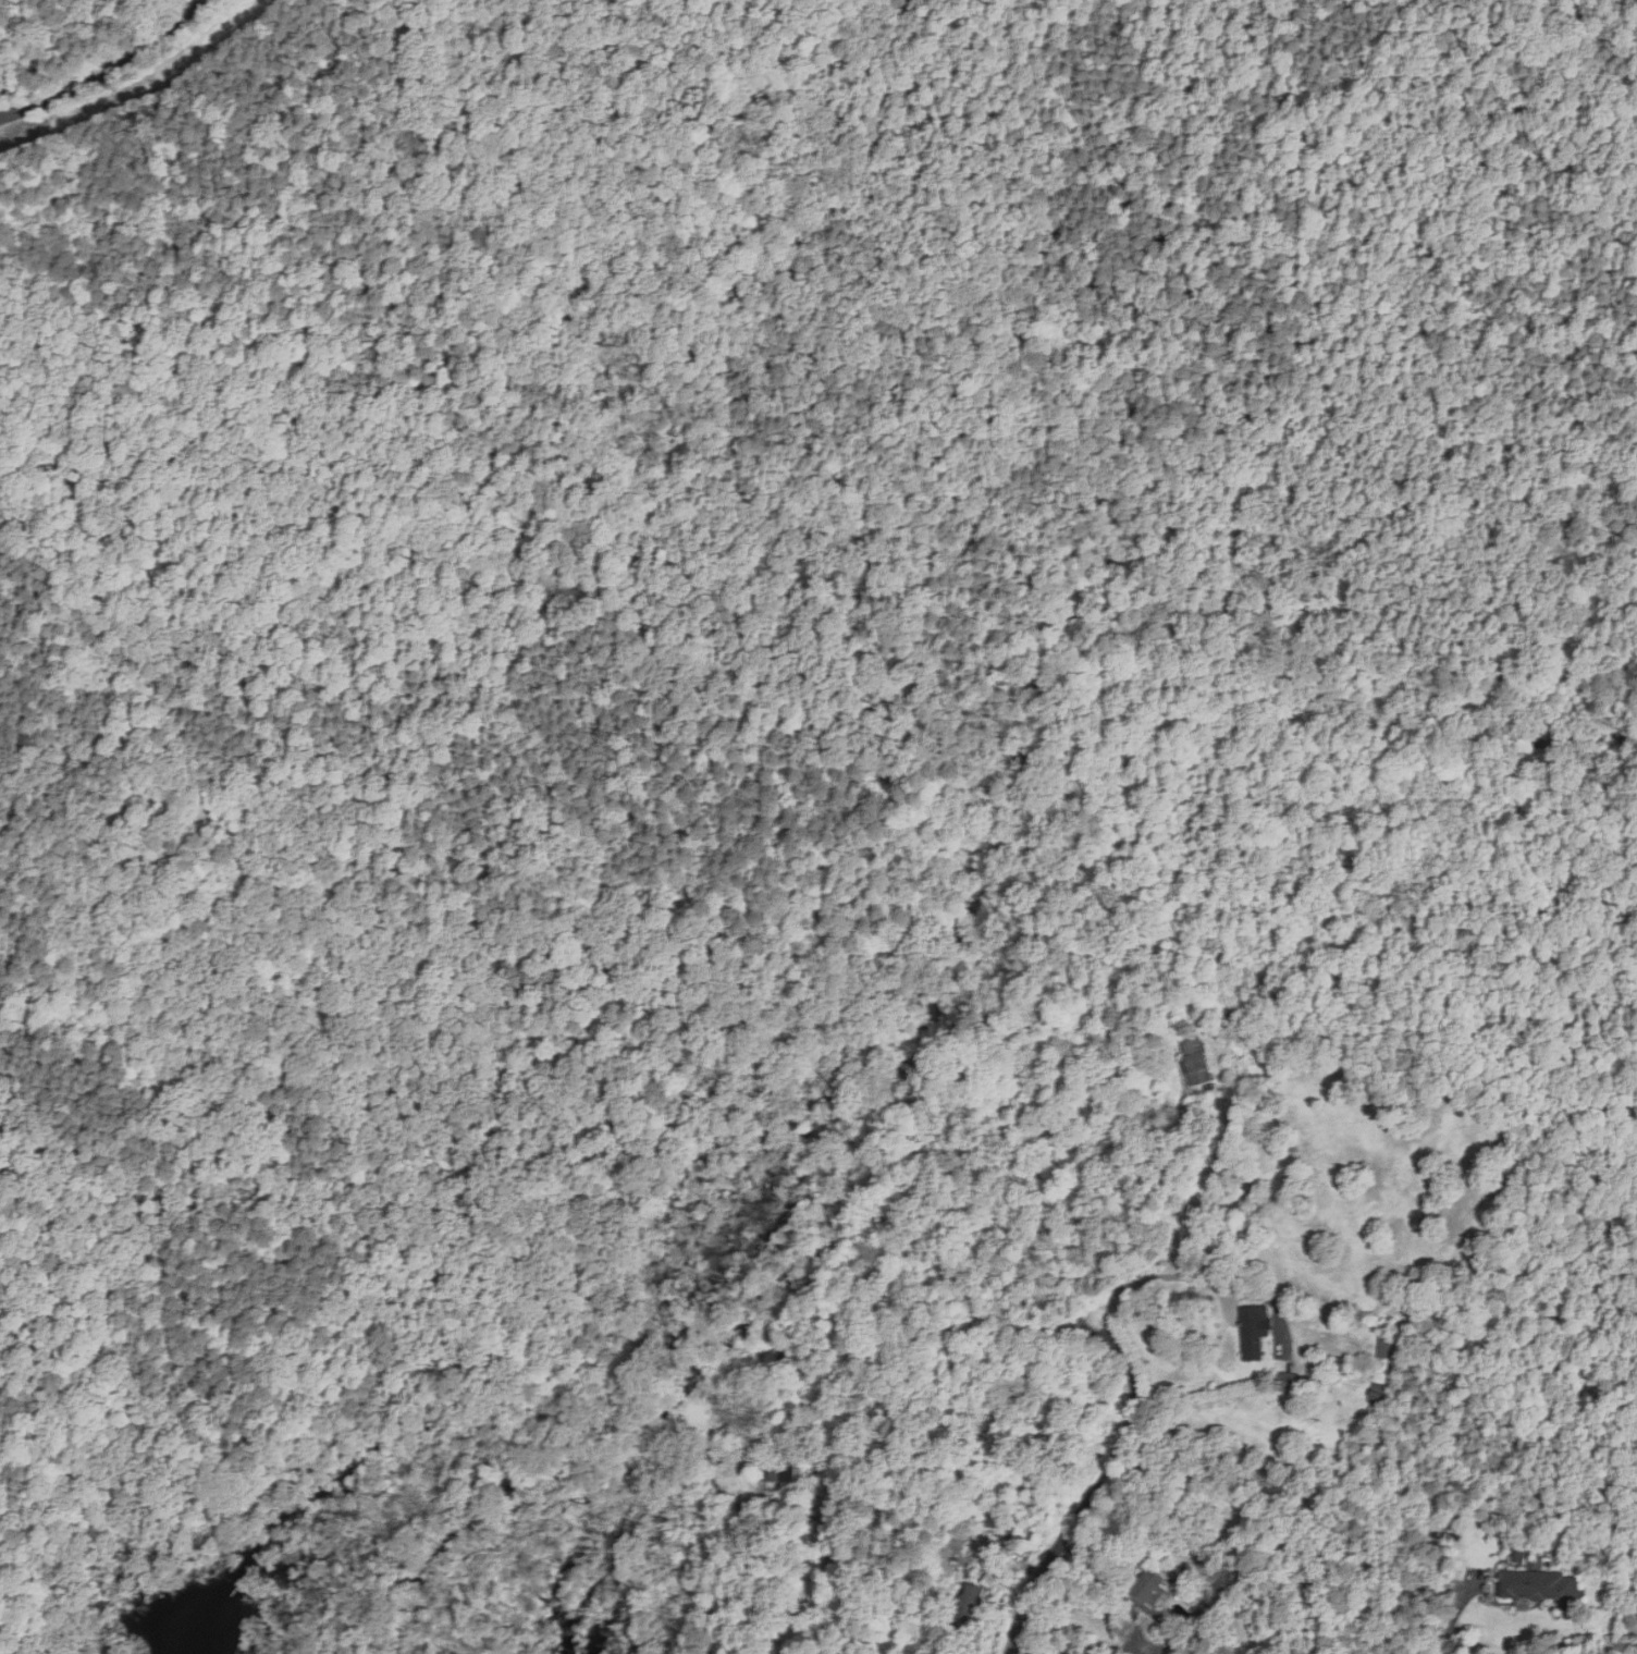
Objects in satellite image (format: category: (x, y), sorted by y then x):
road: (110, 71)
road: (141, 87)
road: (218, 887)
building: (1194, 1064)
road: (1154, 1277)
building: (1251, 1331)
building: (1381, 1347)
building: (1296, 1382)
building: (1375, 1397)
road: (1125, 1428)
road: (830, 1453)
road: (1122, 1585)
building: (1539, 1585)
building: (1150, 1586)
building: (970, 1605)
road: (1118, 1653)

